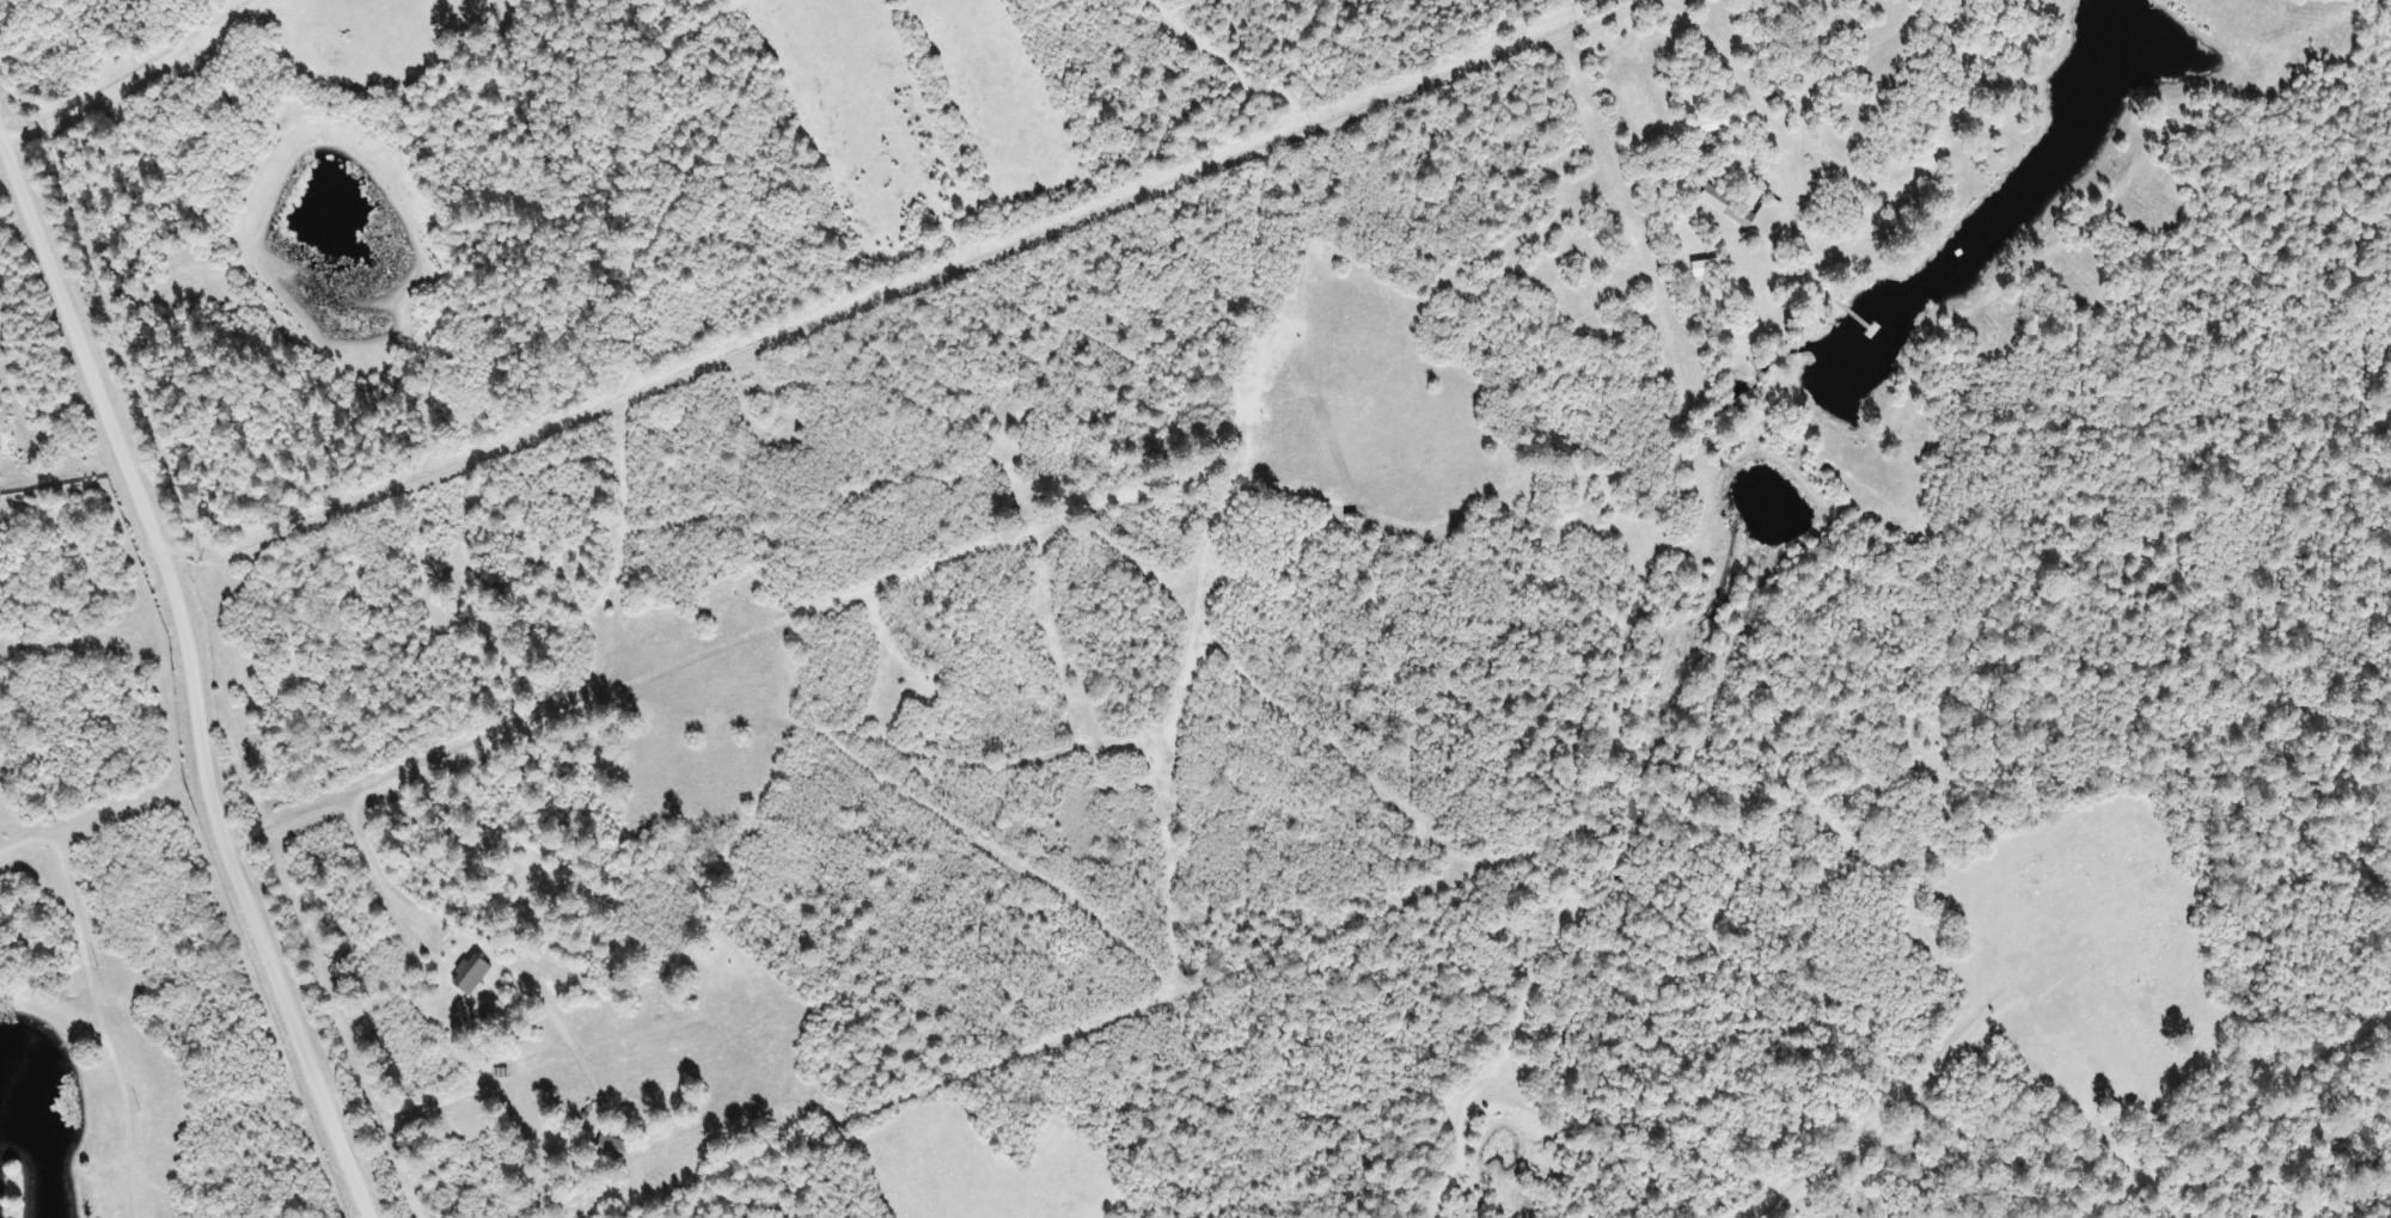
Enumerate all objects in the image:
road: (141, 87)
building: (237, 99)
building: (1743, 214)
road: (1632, 608)
road: (824, 613)
road: (196, 667)
road: (314, 917)
building: (476, 973)
road: (1854, 1120)
building: (616, 1149)
road: (72, 1163)

